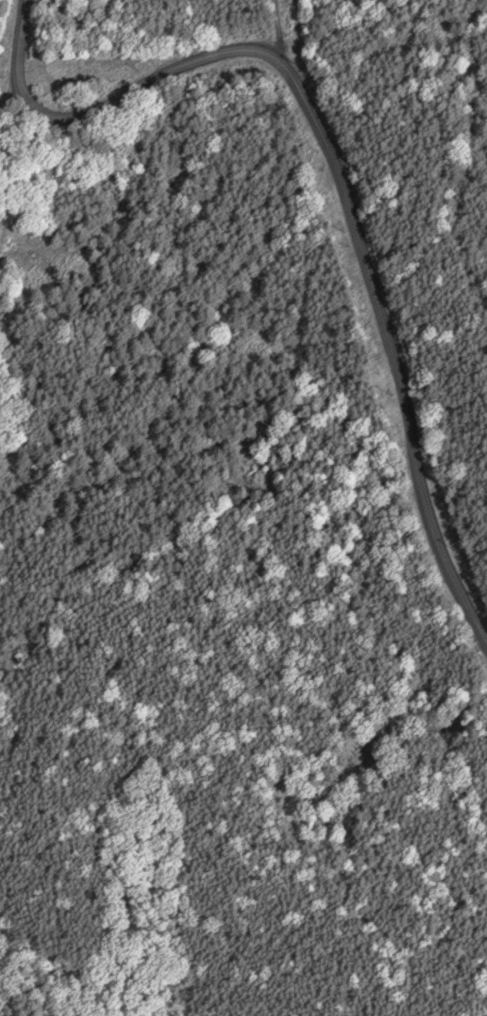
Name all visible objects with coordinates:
road: (300, 30)
road: (9, 99)
road: (342, 141)

